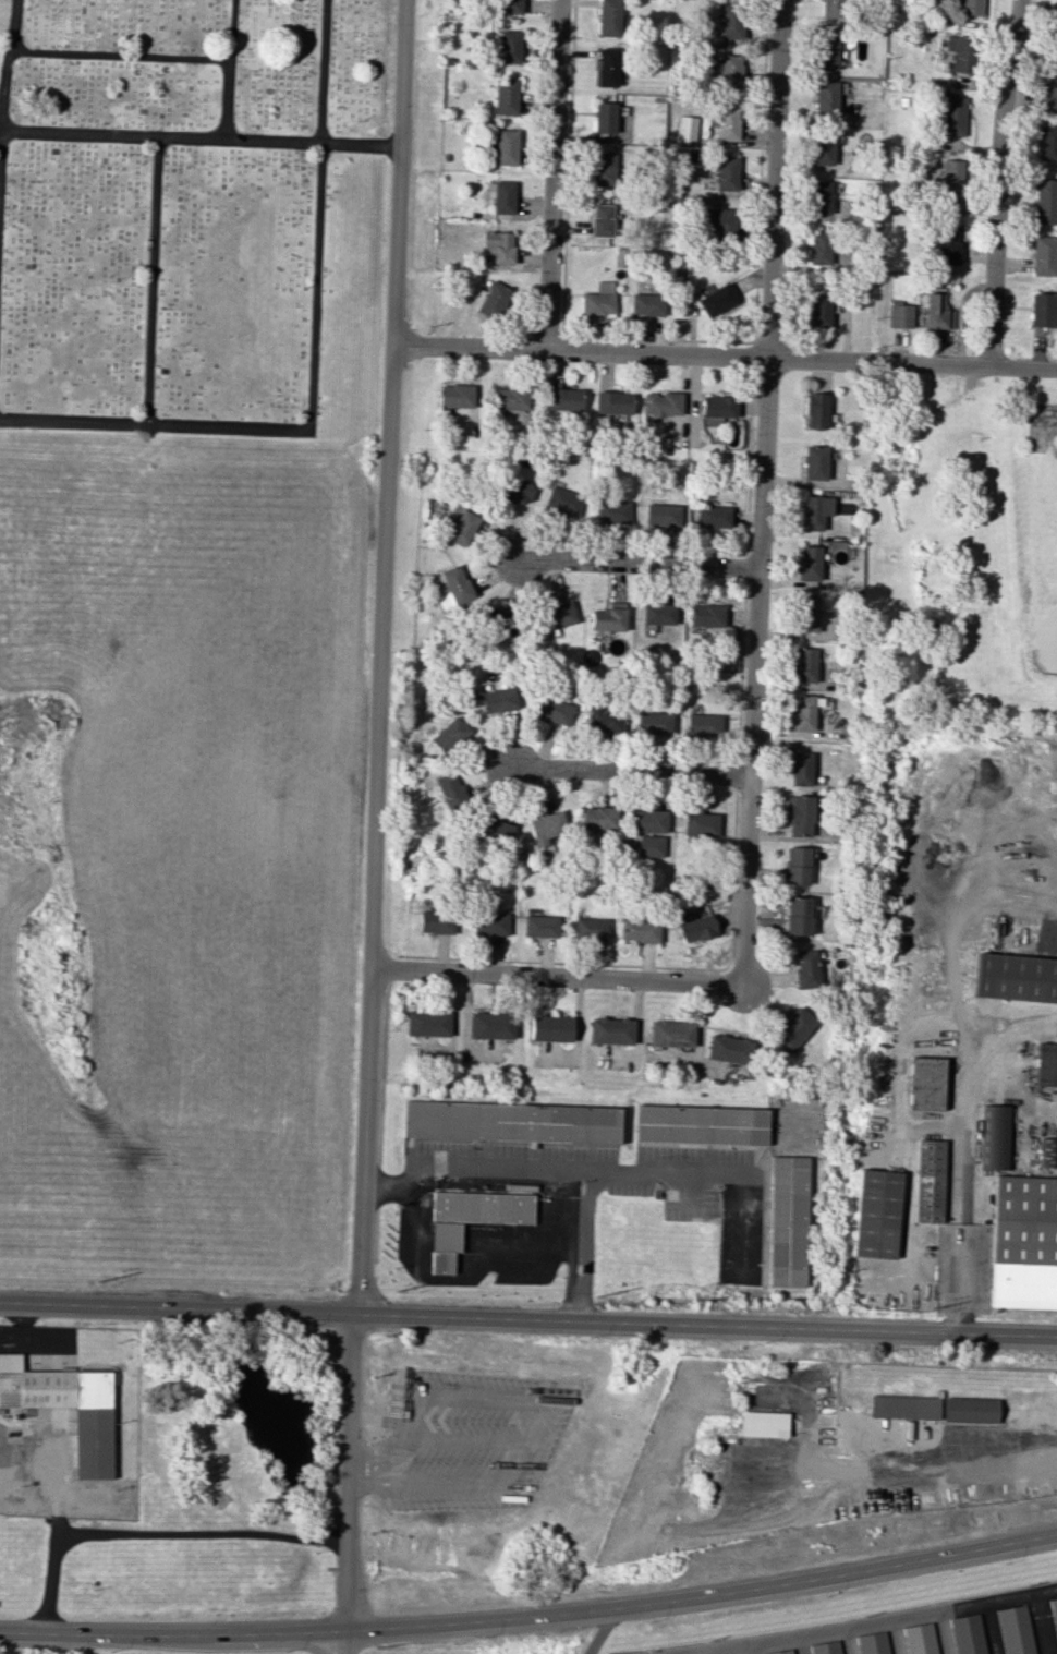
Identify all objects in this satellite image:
building: (510, 7)
building: (970, 7)
building: (830, 8)
building: (608, 17)
building: (731, 21)
building: (1055, 36)
building: (506, 46)
building: (826, 52)
building: (959, 52)
road: (118, 57)
building: (607, 68)
road: (228, 70)
building: (730, 71)
building: (1050, 89)
road: (3, 93)
building: (506, 96)
building: (826, 98)
building: (952, 116)
building: (604, 117)
building: (728, 123)
building: (687, 128)
road: (201, 138)
building: (1047, 143)
building: (506, 146)
building: (823, 147)
building: (603, 169)
building: (726, 172)
road: (552, 174)
building: (949, 177)
road: (996, 182)
building: (501, 196)
building: (821, 197)
building: (1045, 202)
building: (602, 219)
building: (719, 220)
building: (945, 244)
building: (499, 245)
building: (819, 246)
building: (1044, 255)
road: (151, 280)
building: (493, 300)
building: (598, 300)
building: (717, 300)
building: (646, 304)
building: (1045, 310)
building: (818, 311)
building: (937, 311)
building: (900, 315)
road: (724, 355)
road: (311, 370)
building: (454, 396)
building: (509, 398)
building: (562, 399)
building: (612, 402)
building: (660, 403)
building: (717, 409)
building: (814, 410)
road: (1041, 415)
building: (814, 462)
park: (1056, 478)
building: (512, 492)
road: (761, 495)
building: (562, 502)
building: (611, 511)
building: (813, 511)
building: (663, 515)
building: (713, 516)
building: (461, 528)
park: (958, 545)
road: (639, 563)
building: (809, 563)
building: (457, 583)
building: (657, 614)
building: (706, 614)
building: (807, 614)
building: (557, 615)
building: (606, 618)
building: (500, 620)
park: (186, 629)
building: (804, 665)
building: (498, 700)
building: (552, 710)
building: (803, 712)
building: (603, 717)
building: (654, 723)
building: (703, 724)
building: (450, 735)
building: (800, 769)
road: (634, 771)
building: (449, 789)
building: (798, 814)
road: (374, 818)
building: (598, 818)
building: (648, 820)
building: (701, 824)
building: (546, 826)
building: (494, 830)
building: (651, 845)
building: (795, 866)
building: (797, 916)
building: (436, 921)
building: (491, 923)
building: (540, 926)
building: (695, 926)
building: (591, 928)
building: (640, 930)
road: (951, 931)
building: (804, 968)
building: (1015, 977)
road: (549, 978)
building: (427, 1023)
building: (490, 1025)
building: (550, 1028)
building: (790, 1029)
building: (610, 1030)
road: (1018, 1030)
building: (670, 1033)
building: (728, 1049)
building: (1046, 1064)
building: (924, 1083)
building: (511, 1122)
building: (701, 1124)
building: (997, 1136)
building: (1047, 1152)
road: (543, 1170)
road: (704, 1173)
building: (928, 1181)
road: (962, 1188)
building: (482, 1207)
building: (874, 1214)
building: (785, 1221)
building: (1023, 1243)
building: (444, 1245)
road: (455, 1279)
power tower: (95, 1287)
power tower: (394, 1290)
power tower: (592, 1295)
power tower: (930, 1307)
road: (528, 1319)
building: (904, 1406)
building: (64, 1409)
building: (970, 1410)
building: (762, 1423)
parking lot: (467, 1441)
road: (914, 1463)
road: (54, 1497)
road: (202, 1533)
road: (50, 1583)
road: (531, 1616)
building: (1054, 1617)
road: (872, 1622)
road: (1043, 1622)
road: (991, 1628)
building: (1015, 1630)
road: (599, 1631)
road: (944, 1632)
building: (968, 1634)
road: (896, 1637)
building: (922, 1639)
road: (846, 1641)
building: (873, 1643)
road: (337, 1644)
road: (799, 1644)
building: (827, 1647)
road: (753, 1649)
road: (705, 1652)
building: (782, 1652)

